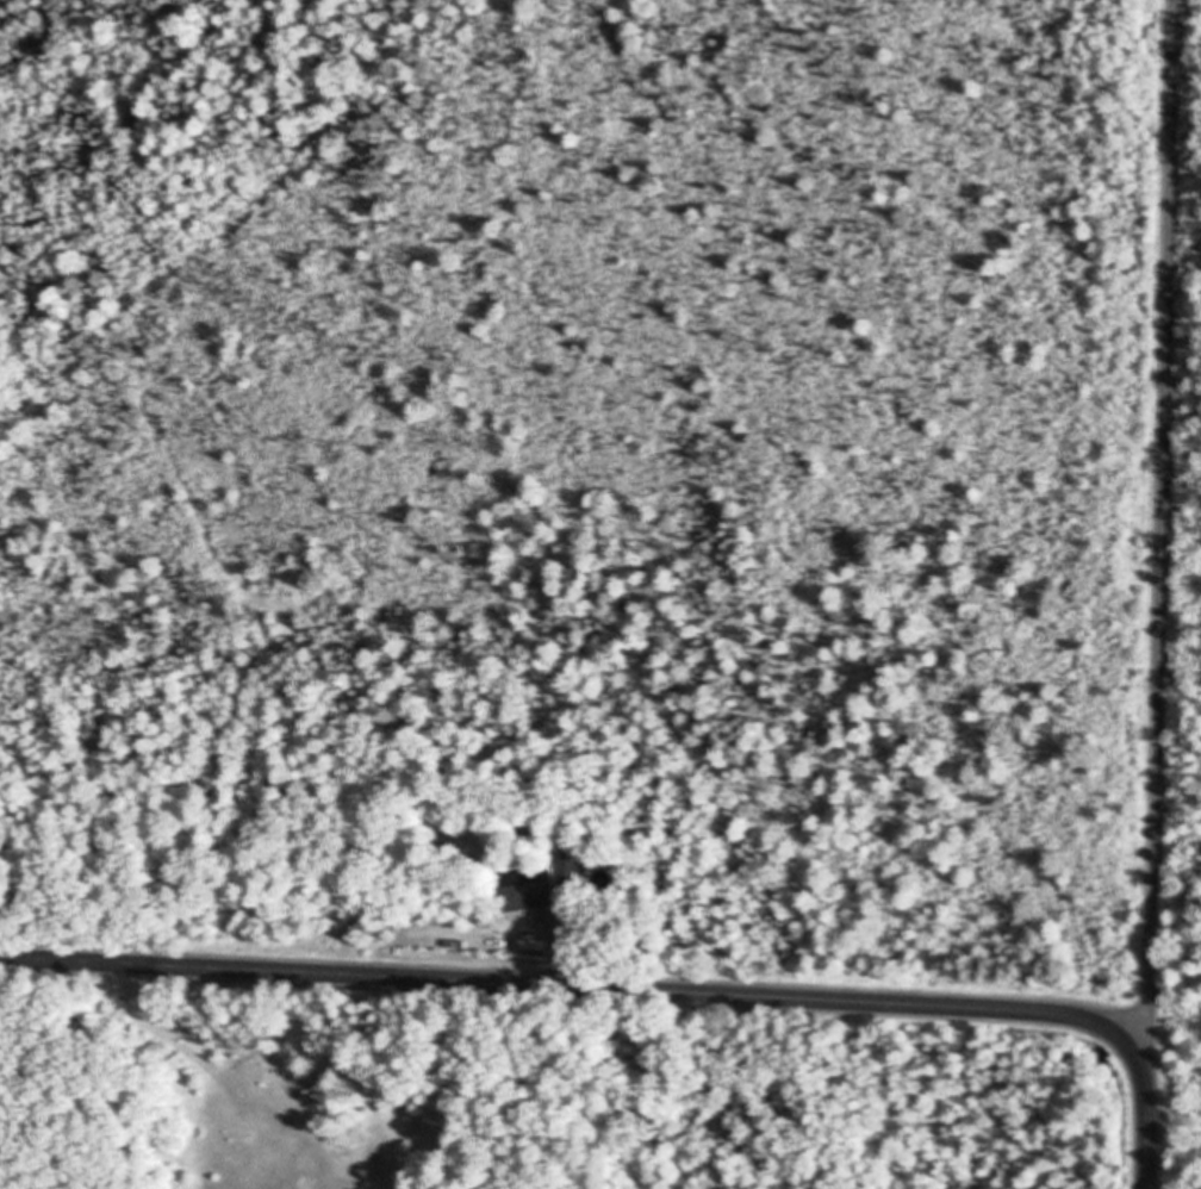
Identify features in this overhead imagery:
road: (1163, 540)
building: (572, 861)
building: (530, 897)
road: (590, 990)
road: (1147, 1134)

